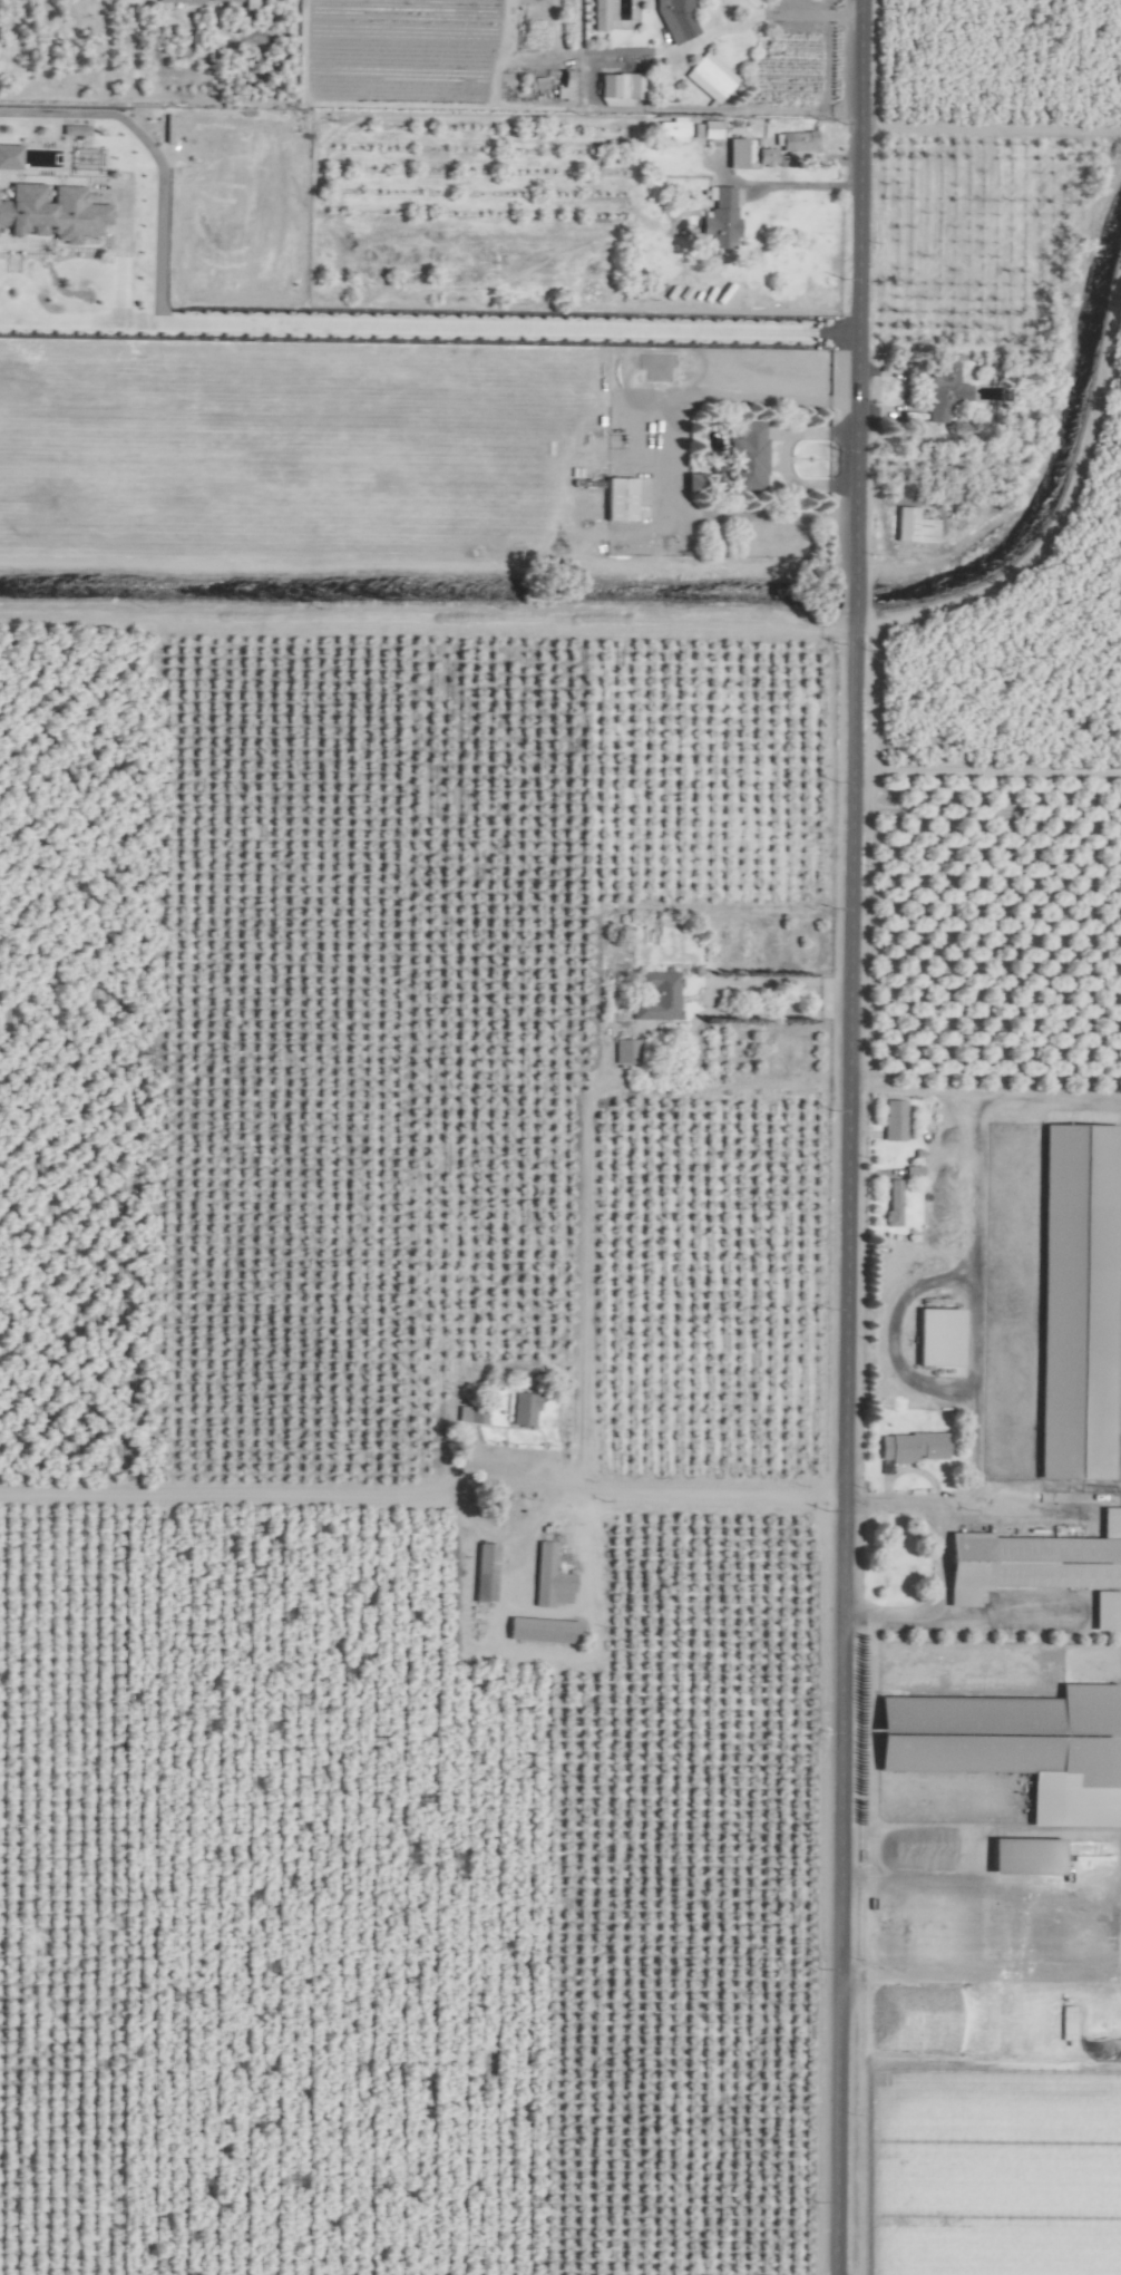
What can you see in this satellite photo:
building: (225, 0)
building: (181, 1)
building: (680, 3)
building: (247, 4)
building: (598, 14)
road: (797, 14)
road: (826, 56)
building: (709, 77)
building: (620, 86)
road: (649, 111)
road: (841, 111)
building: (671, 128)
building: (704, 130)
building: (795, 142)
building: (735, 154)
building: (766, 157)
road: (796, 184)
building: (50, 213)
building: (720, 220)
road: (431, 325)
building: (942, 391)
building: (748, 457)
building: (617, 499)
road: (756, 516)
building: (913, 527)
building: (657, 995)
building: (625, 1050)
building: (893, 1120)
building: (1078, 1129)
crop: (560, 1137)
road: (845, 1137)
building: (891, 1203)
road: (978, 1242)
building: (937, 1336)
building: (523, 1408)
building: (461, 1413)
building: (910, 1447)
road: (836, 1500)
road: (940, 1562)
building: (1033, 1562)
building: (484, 1572)
building: (548, 1578)
building: (1105, 1611)
road: (958, 1615)
building: (540, 1630)
building: (1014, 1746)

